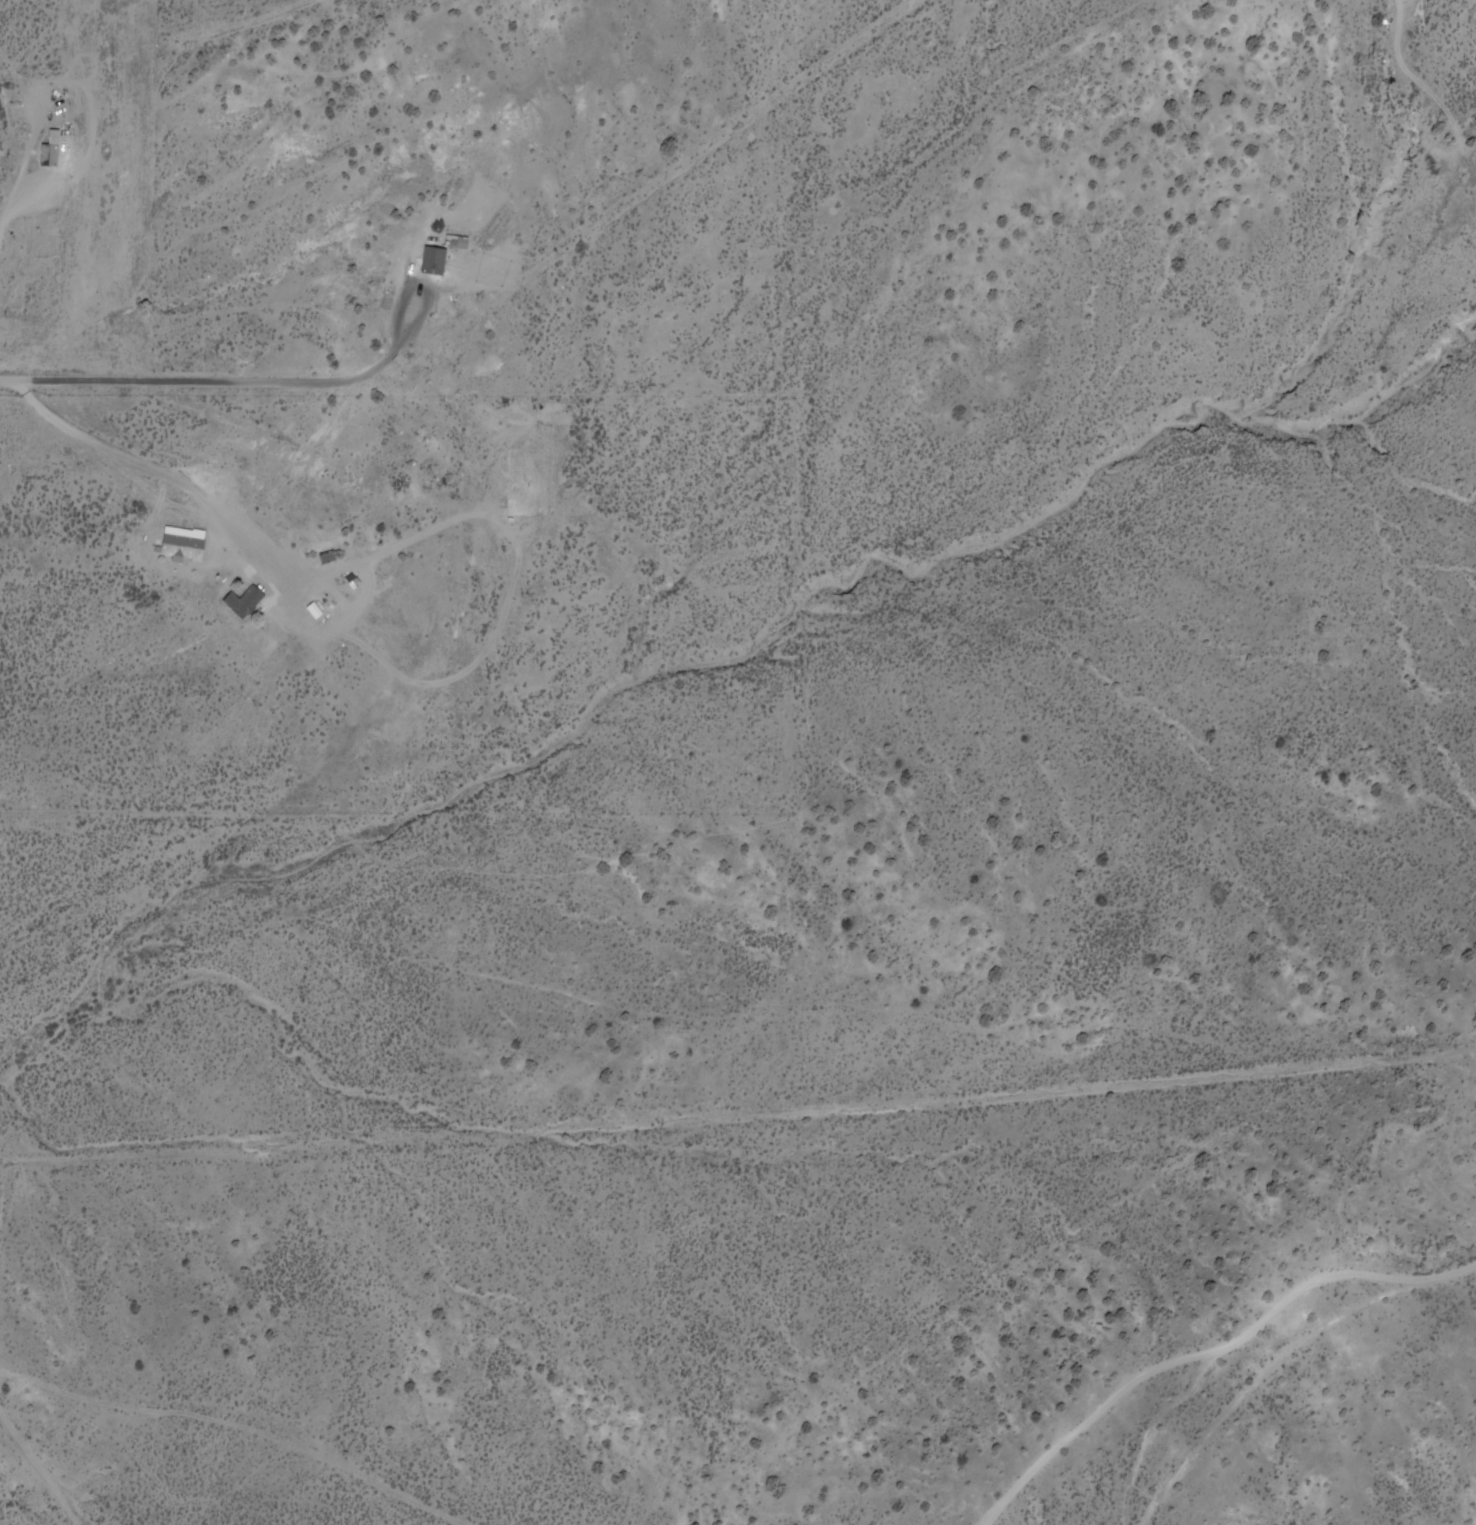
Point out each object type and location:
building: (59, 152)
road: (38, 153)
road: (92, 156)
building: (464, 244)
building: (441, 263)
road: (293, 383)
road: (155, 468)
road: (152, 491)
building: (191, 544)
building: (335, 557)
building: (362, 583)
road: (381, 601)
building: (252, 603)
building: (323, 614)
road: (738, 1116)
road: (3, 1246)
road: (1260, 1341)
road: (1113, 1407)
road: (239, 1428)
road: (42, 1461)

